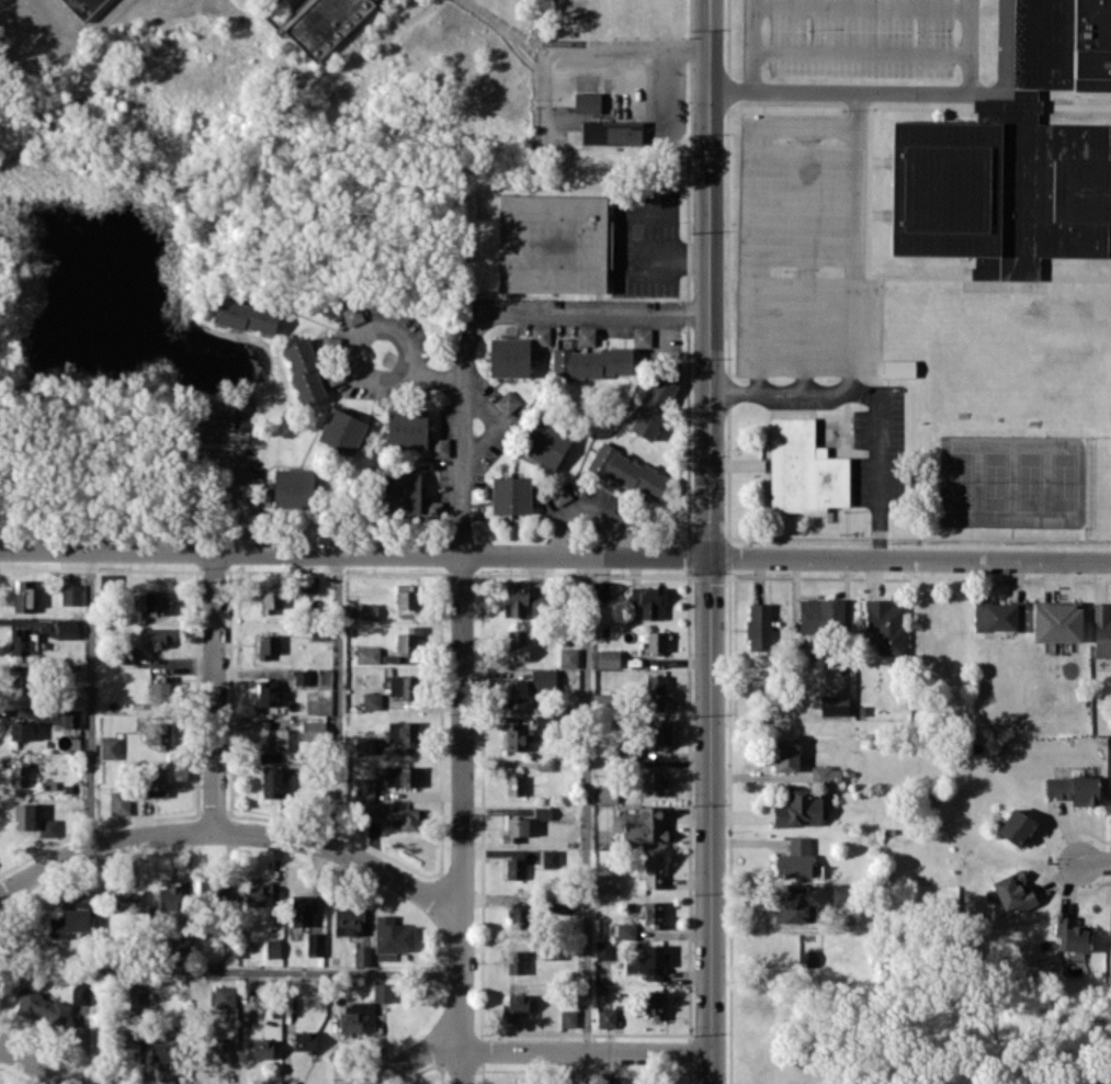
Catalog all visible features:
building: (82, 7)
building: (322, 23)
road: (746, 44)
road: (581, 45)
road: (968, 45)
road: (898, 91)
building: (587, 102)
building: (611, 132)
building: (1014, 157)
road: (755, 189)
building: (553, 242)
road: (676, 258)
road: (854, 261)
road: (594, 312)
building: (245, 315)
building: (585, 336)
building: (642, 337)
building: (509, 357)
building: (599, 362)
road: (358, 366)
building: (898, 368)
building: (304, 371)
road: (877, 394)
building: (508, 400)
building: (653, 406)
building: (226, 414)
road: (502, 422)
building: (406, 427)
building: (341, 430)
road: (462, 430)
building: (545, 443)
building: (439, 447)
building: (803, 468)
building: (628, 472)
road: (245, 483)
building: (292, 488)
building: (399, 493)
building: (562, 493)
building: (510, 495)
road: (588, 504)
building: (431, 508)
road: (711, 541)
road: (355, 552)
road: (910, 558)
building: (600, 589)
building: (71, 594)
building: (24, 595)
building: (408, 596)
building: (271, 599)
building: (647, 600)
building: (156, 601)
building: (523, 601)
building: (369, 611)
building: (820, 616)
building: (999, 616)
building: (1056, 622)
building: (885, 624)
building: (758, 625)
building: (66, 628)
building: (1101, 630)
building: (156, 636)
building: (409, 640)
building: (22, 641)
building: (656, 641)
building: (267, 645)
building: (515, 645)
building: (367, 654)
building: (568, 657)
building: (608, 657)
building: (71, 671)
building: (302, 676)
building: (543, 678)
building: (20, 685)
building: (403, 686)
building: (158, 690)
road: (213, 690)
building: (267, 692)
building: (515, 692)
building: (656, 692)
road: (90, 698)
road: (338, 700)
building: (372, 700)
building: (834, 704)
building: (71, 718)
building: (20, 727)
building: (313, 730)
building: (403, 731)
building: (159, 733)
building: (659, 734)
building: (517, 736)
building: (271, 737)
building: (364, 745)
building: (109, 747)
building: (785, 755)
building: (19, 774)
building: (825, 774)
building: (401, 776)
building: (157, 781)
building: (651, 781)
building: (271, 782)
building: (514, 784)
building: (364, 789)
building: (1073, 789)
building: (606, 792)
building: (118, 802)
building: (801, 808)
building: (373, 810)
building: (542, 812)
building: (23, 816)
building: (406, 818)
road: (461, 818)
road: (586, 818)
building: (48, 826)
building: (645, 826)
building: (1017, 827)
building: (514, 828)
road: (229, 831)
building: (548, 858)
building: (795, 859)
road: (1096, 861)
building: (513, 867)
building: (653, 871)
building: (605, 882)
building: (212, 889)
building: (839, 891)
building: (1012, 891)
building: (262, 894)
building: (169, 895)
building: (127, 902)
building: (795, 903)
building: (301, 910)
building: (653, 913)
building: (519, 917)
building: (70, 919)
building: (347, 921)
building: (1109, 929)
building: (625, 930)
building: (1072, 935)
building: (392, 937)
building: (315, 944)
building: (181, 947)
building: (272, 947)
building: (228, 948)
building: (603, 949)
building: (362, 956)
building: (515, 961)
building: (646, 962)
road: (230, 968)
building: (81, 992)
building: (382, 992)
building: (137, 995)
building: (224, 995)
building: (653, 1004)
building: (514, 1006)
building: (41, 1007)
building: (568, 1017)
building: (605, 1017)
building: (352, 1018)
building: (125, 1038)
building: (305, 1041)
building: (260, 1048)
road: (534, 1050)
building: (163, 1051)
building: (215, 1051)
road: (37, 1064)
building: (610, 1079)

